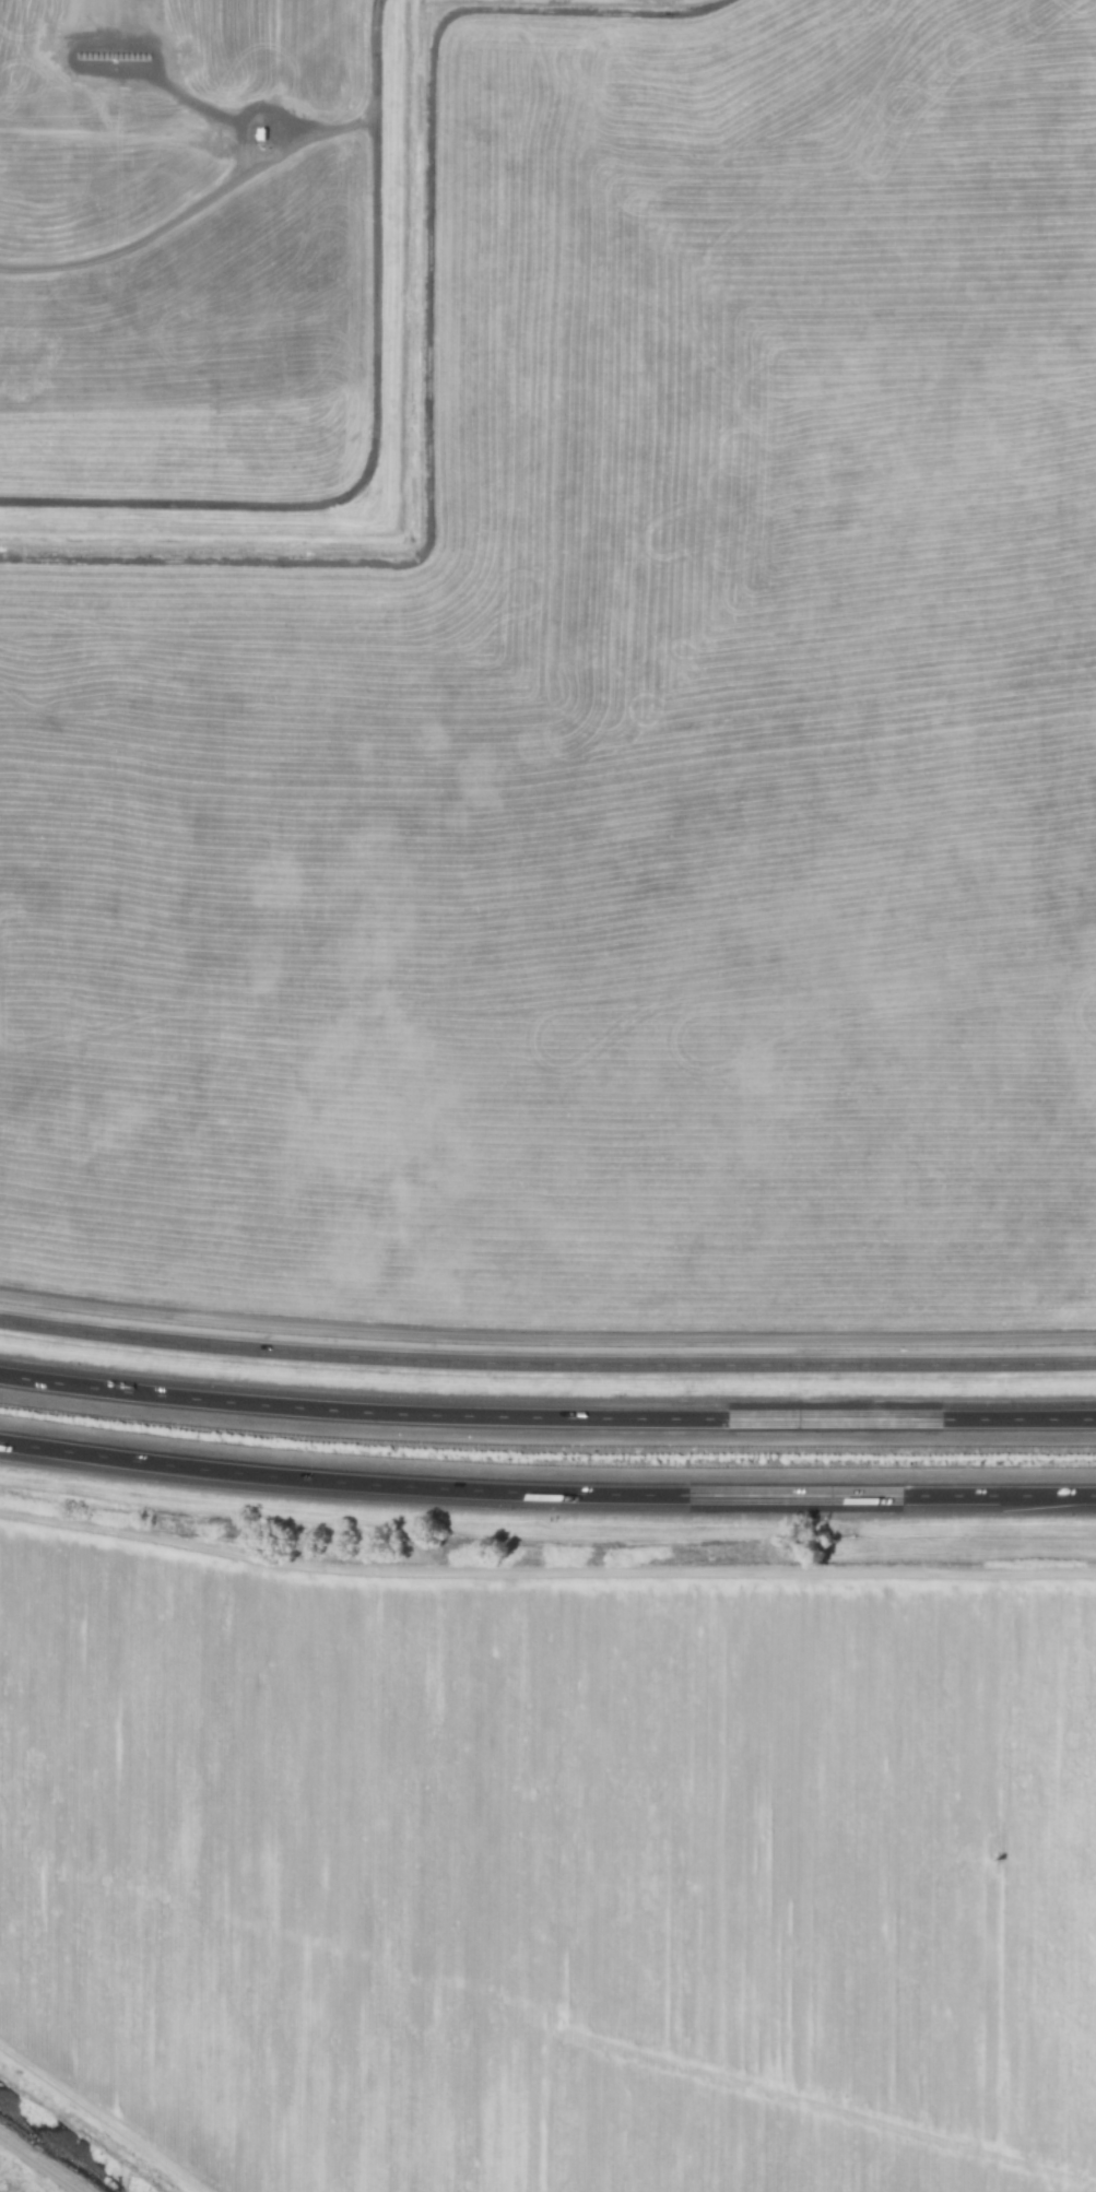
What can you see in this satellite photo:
road: (366, 114)
airport: (551, 669)
road: (546, 1364)
road: (546, 1418)
road: (546, 1490)
crop: (550, 1870)

